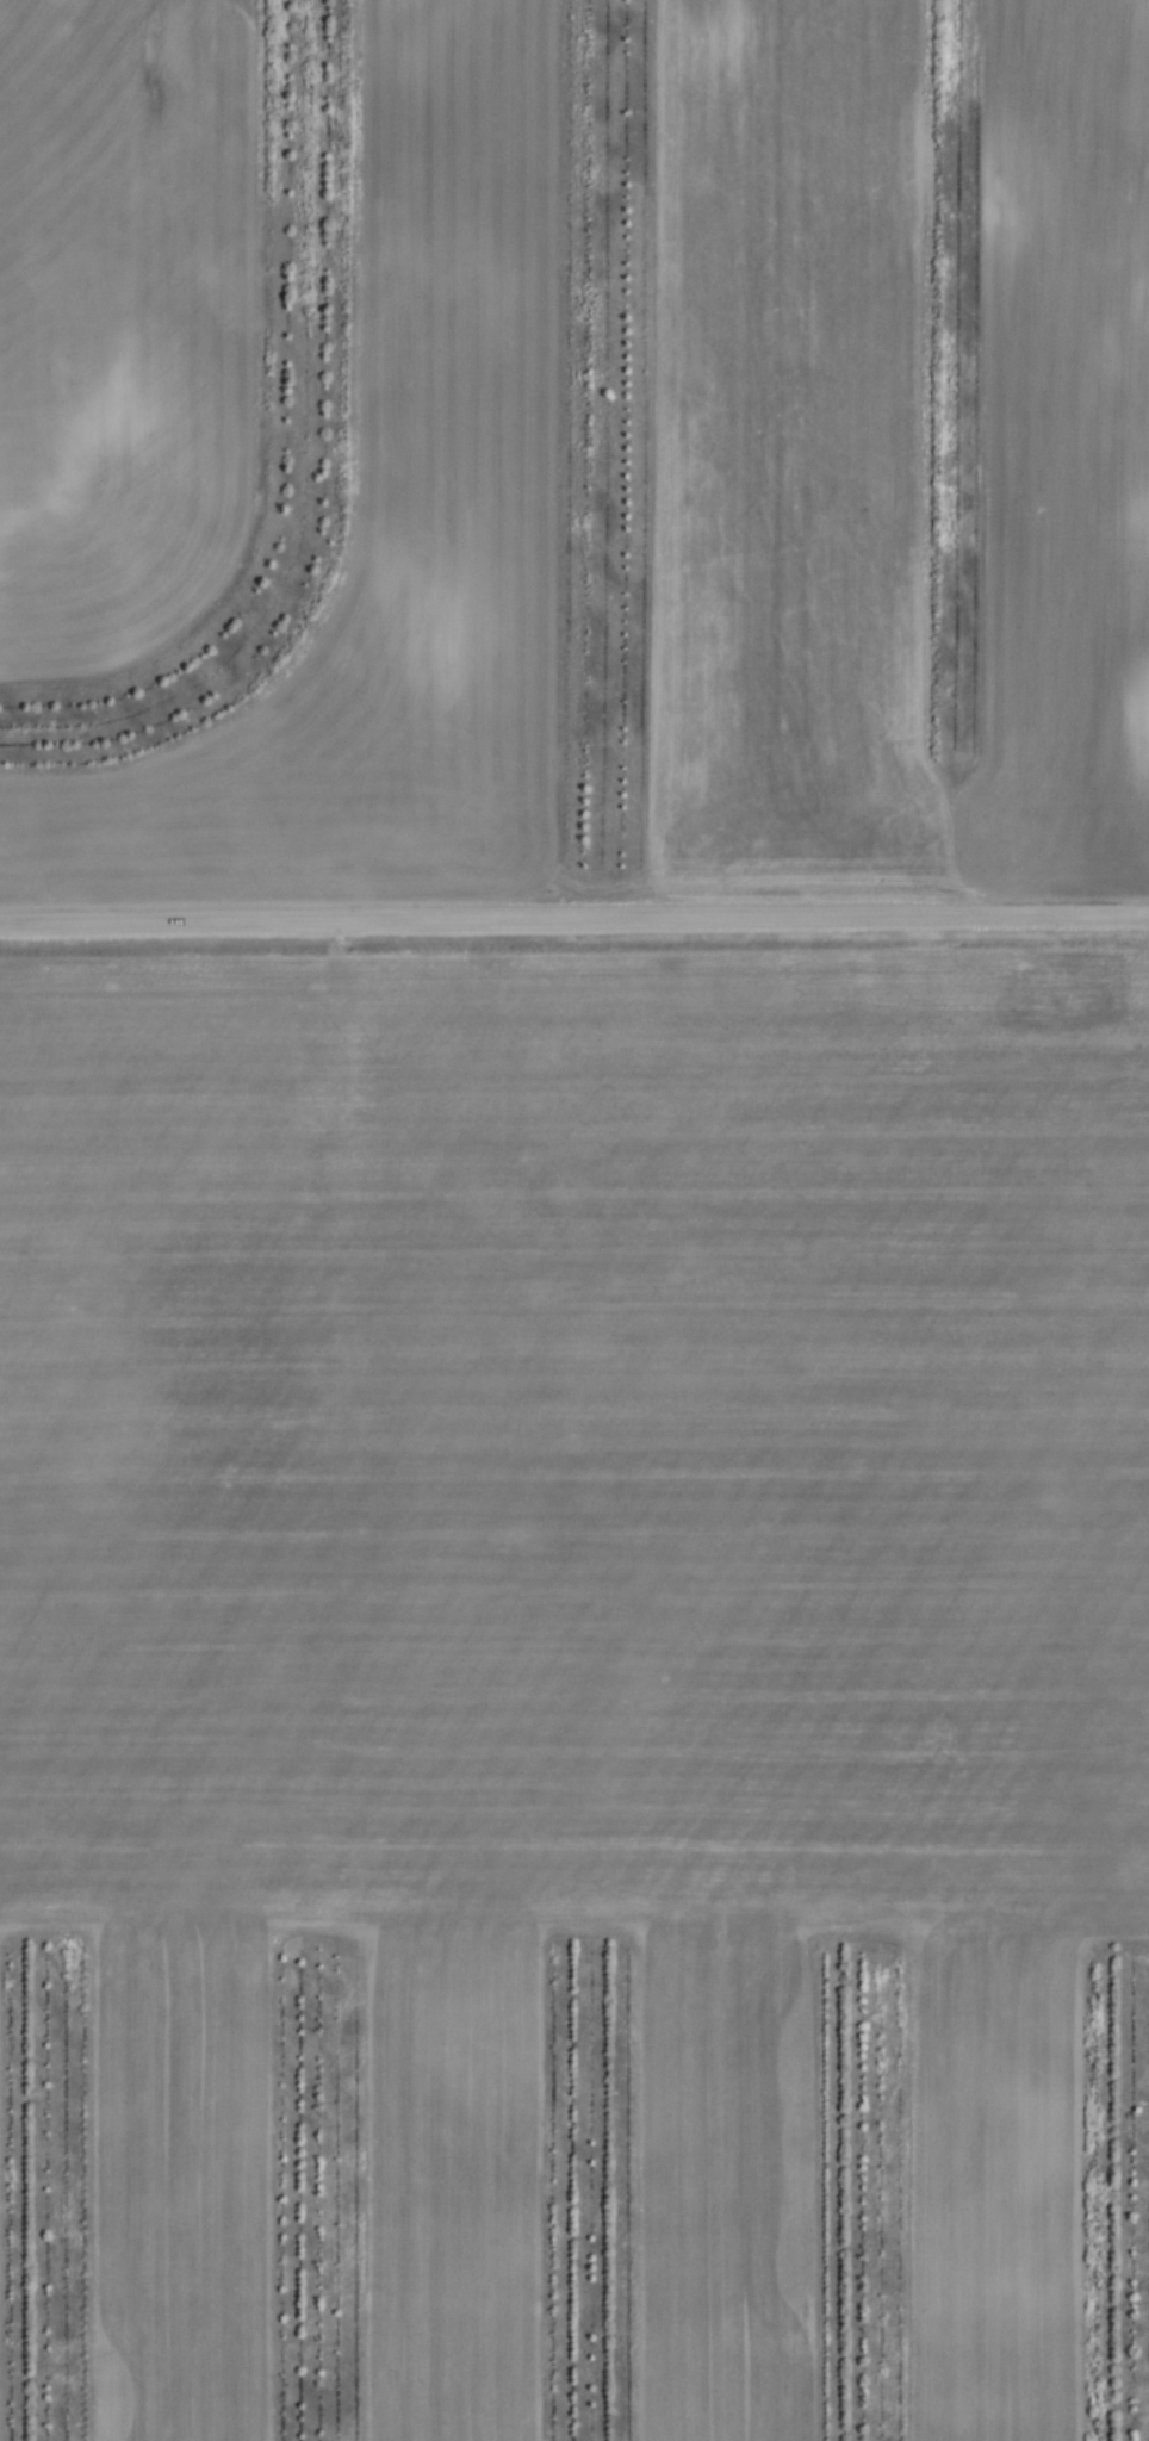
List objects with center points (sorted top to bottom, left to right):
road: (574, 920)

